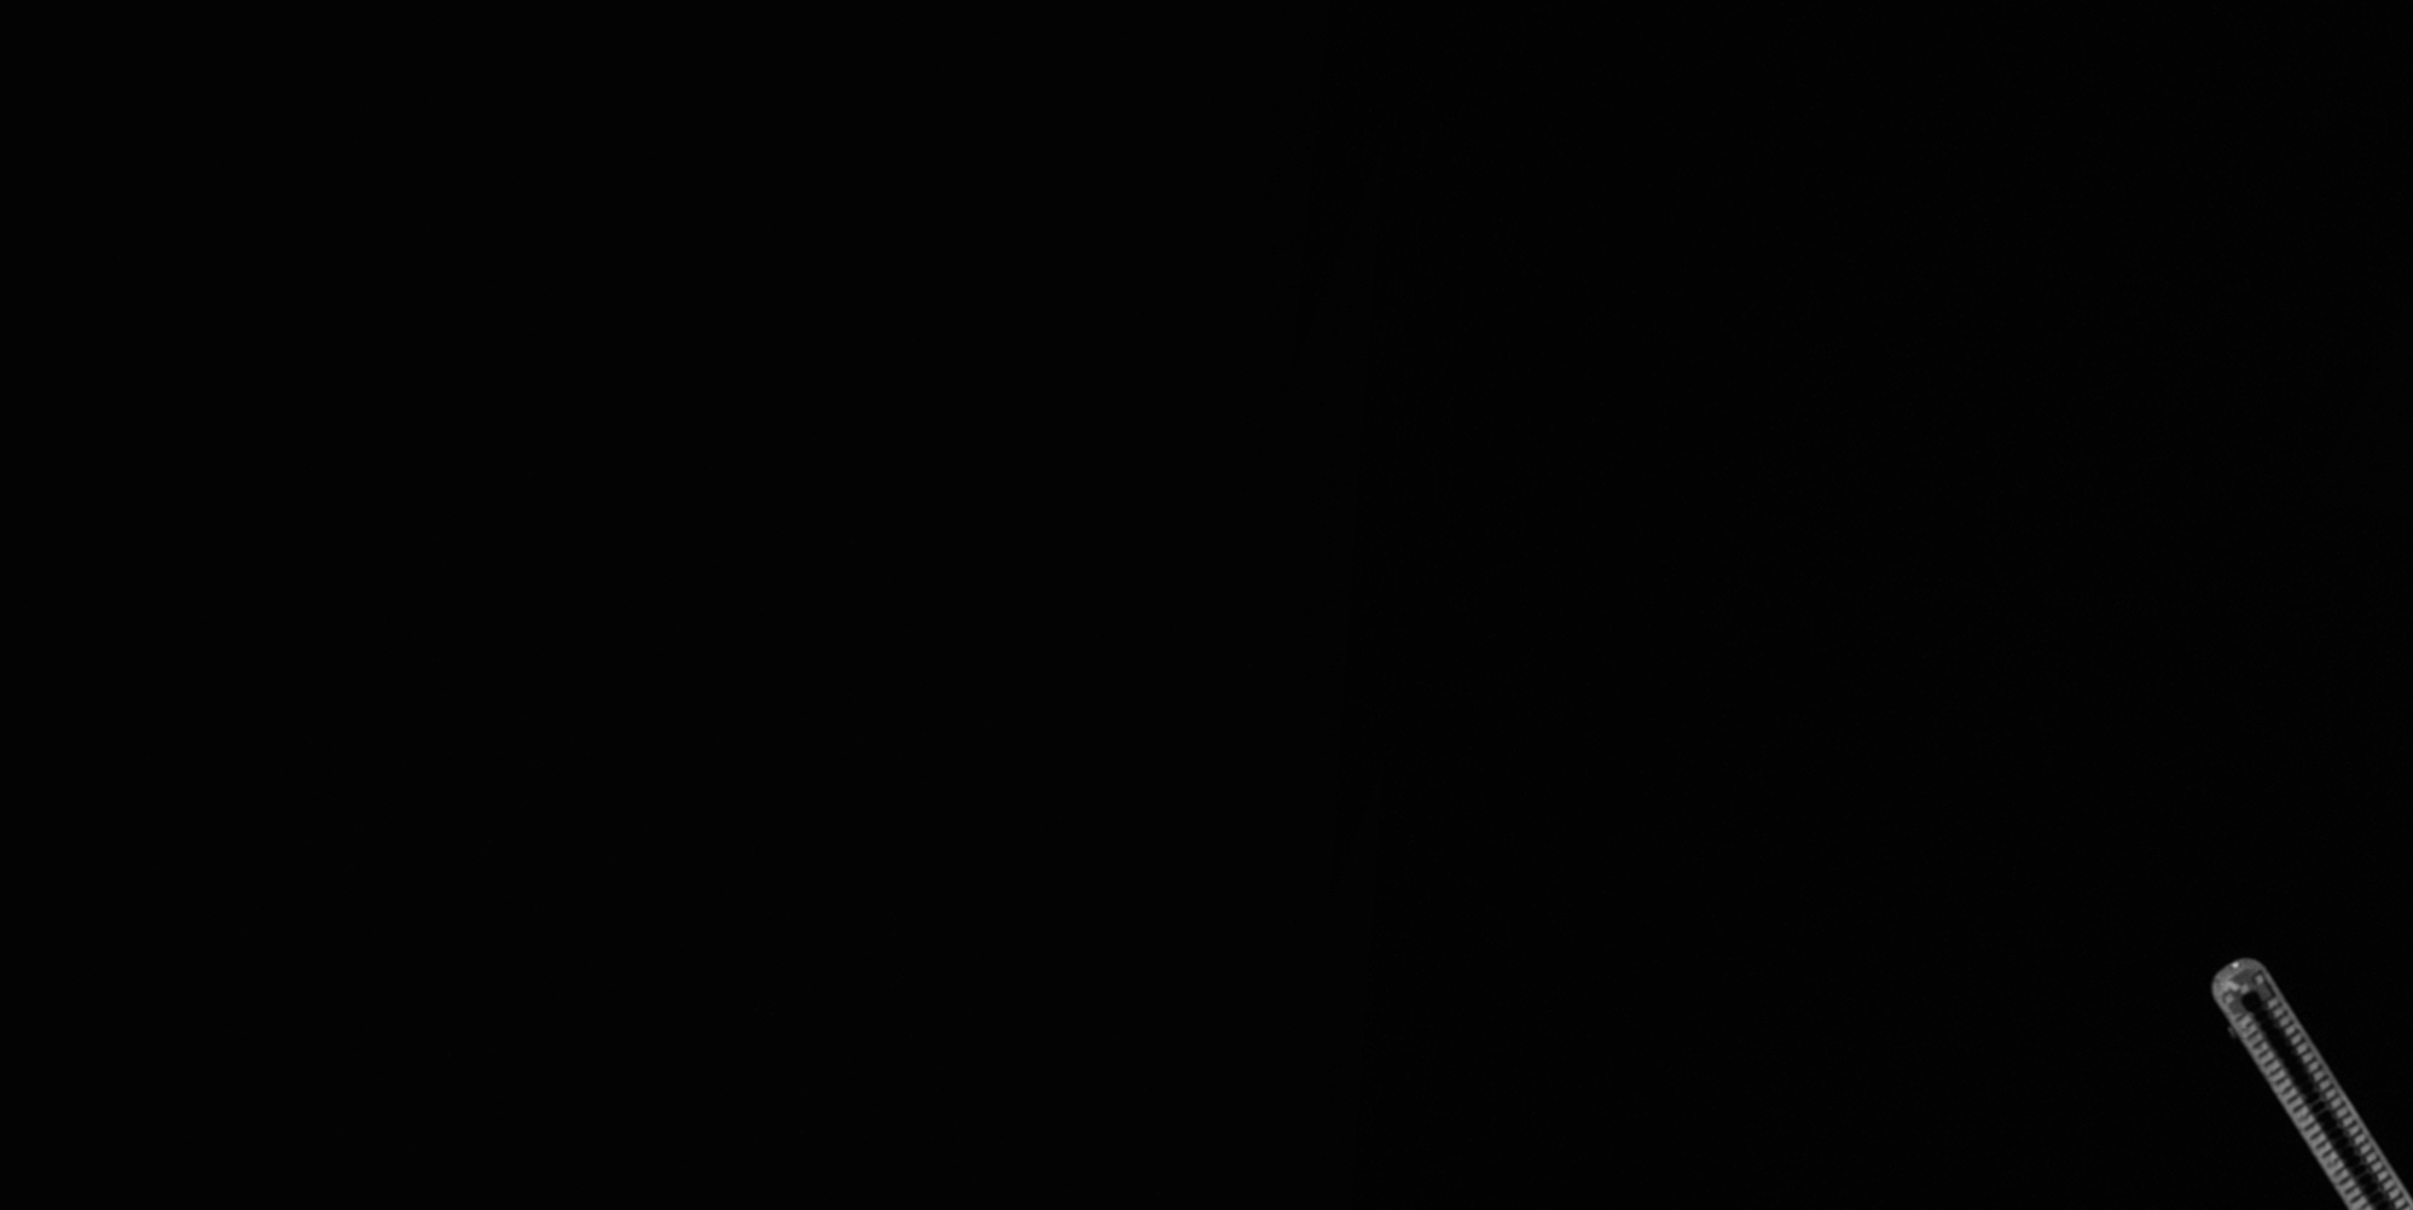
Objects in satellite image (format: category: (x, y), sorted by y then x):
park: (2305, 1089)

